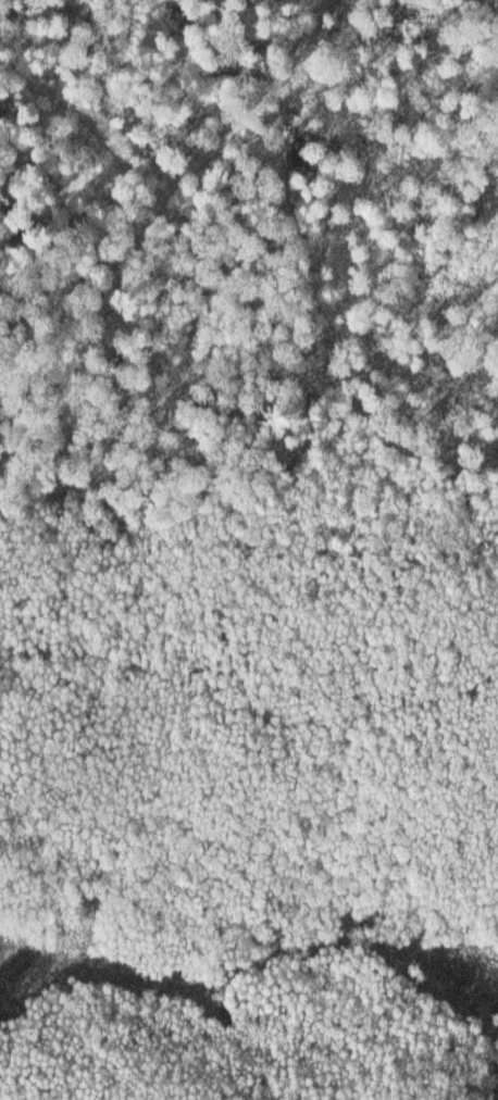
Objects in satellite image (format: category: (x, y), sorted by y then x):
road: (84, 125)
road: (141, 221)

